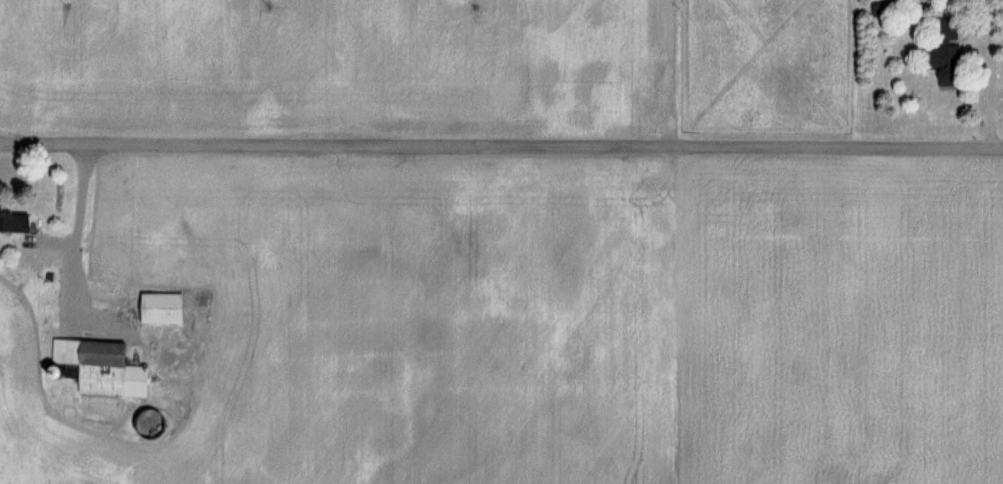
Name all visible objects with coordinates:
building: (943, 52)
road: (974, 73)
road: (501, 146)
building: (13, 221)
road: (74, 231)
building: (161, 307)

